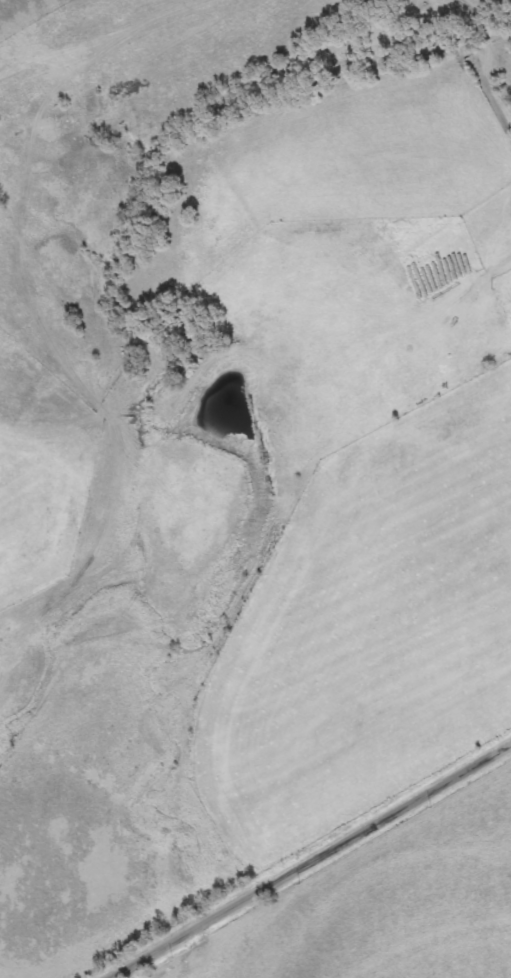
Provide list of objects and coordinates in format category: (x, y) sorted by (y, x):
road: (314, 863)

